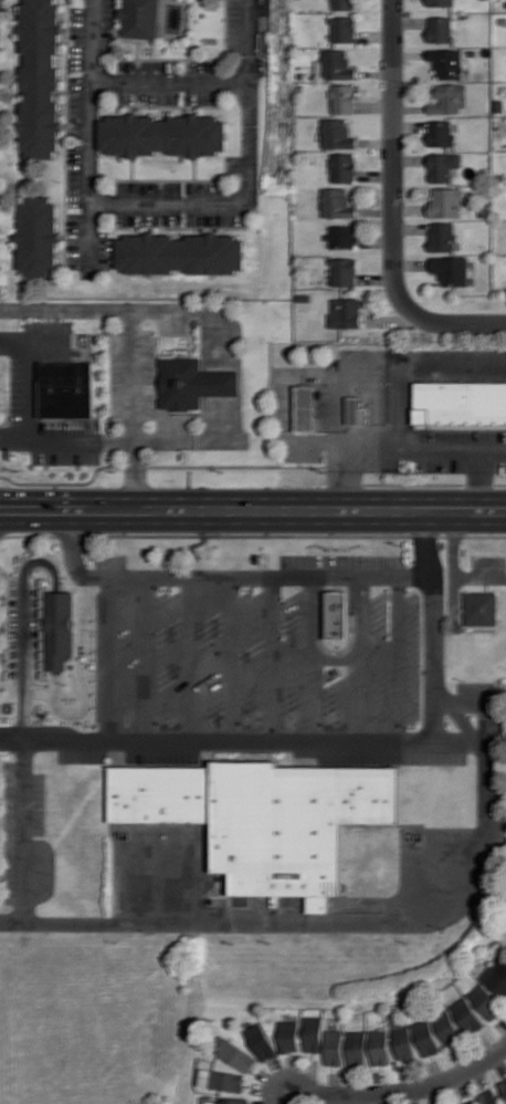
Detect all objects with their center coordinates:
building: (441, 2)
building: (342, 4)
building: (140, 18)
building: (342, 29)
building: (440, 29)
building: (446, 63)
building: (336, 64)
building: (40, 79)
road: (169, 82)
building: (342, 98)
building: (447, 98)
building: (439, 133)
building: (337, 134)
building: (164, 135)
road: (88, 137)
road: (393, 154)
building: (442, 166)
building: (342, 167)
road: (250, 181)
building: (337, 202)
building: (444, 202)
building: (38, 236)
building: (341, 236)
building: (441, 236)
building: (181, 253)
building: (450, 269)
building: (342, 271)
building: (345, 313)
road: (452, 325)
road: (421, 372)
road: (134, 377)
road: (23, 379)
road: (228, 381)
building: (193, 383)
building: (67, 389)
building: (460, 404)
building: (305, 407)
building: (356, 412)
road: (340, 444)
road: (336, 449)
road: (166, 467)
road: (135, 477)
road: (477, 481)
road: (424, 485)
road: (253, 511)
road: (222, 575)
building: (479, 608)
building: (336, 614)
road: (313, 616)
road: (355, 616)
building: (59, 628)
road: (112, 653)
road: (149, 653)
road: (231, 653)
road: (274, 653)
road: (396, 653)
road: (193, 654)
road: (335, 655)
road: (245, 731)
building: (264, 816)
road: (23, 822)
road: (460, 909)
building: (496, 973)
building: (485, 1001)
building: (467, 1016)
building: (447, 1028)
building: (314, 1033)
building: (288, 1035)
building: (425, 1037)
building: (261, 1041)
building: (403, 1041)
building: (380, 1046)
building: (334, 1048)
building: (357, 1048)
building: (238, 1055)
building: (221, 1080)
building: (504, 1085)
road: (407, 1092)
building: (489, 1097)
building: (226, 1101)
building: (468, 1102)

